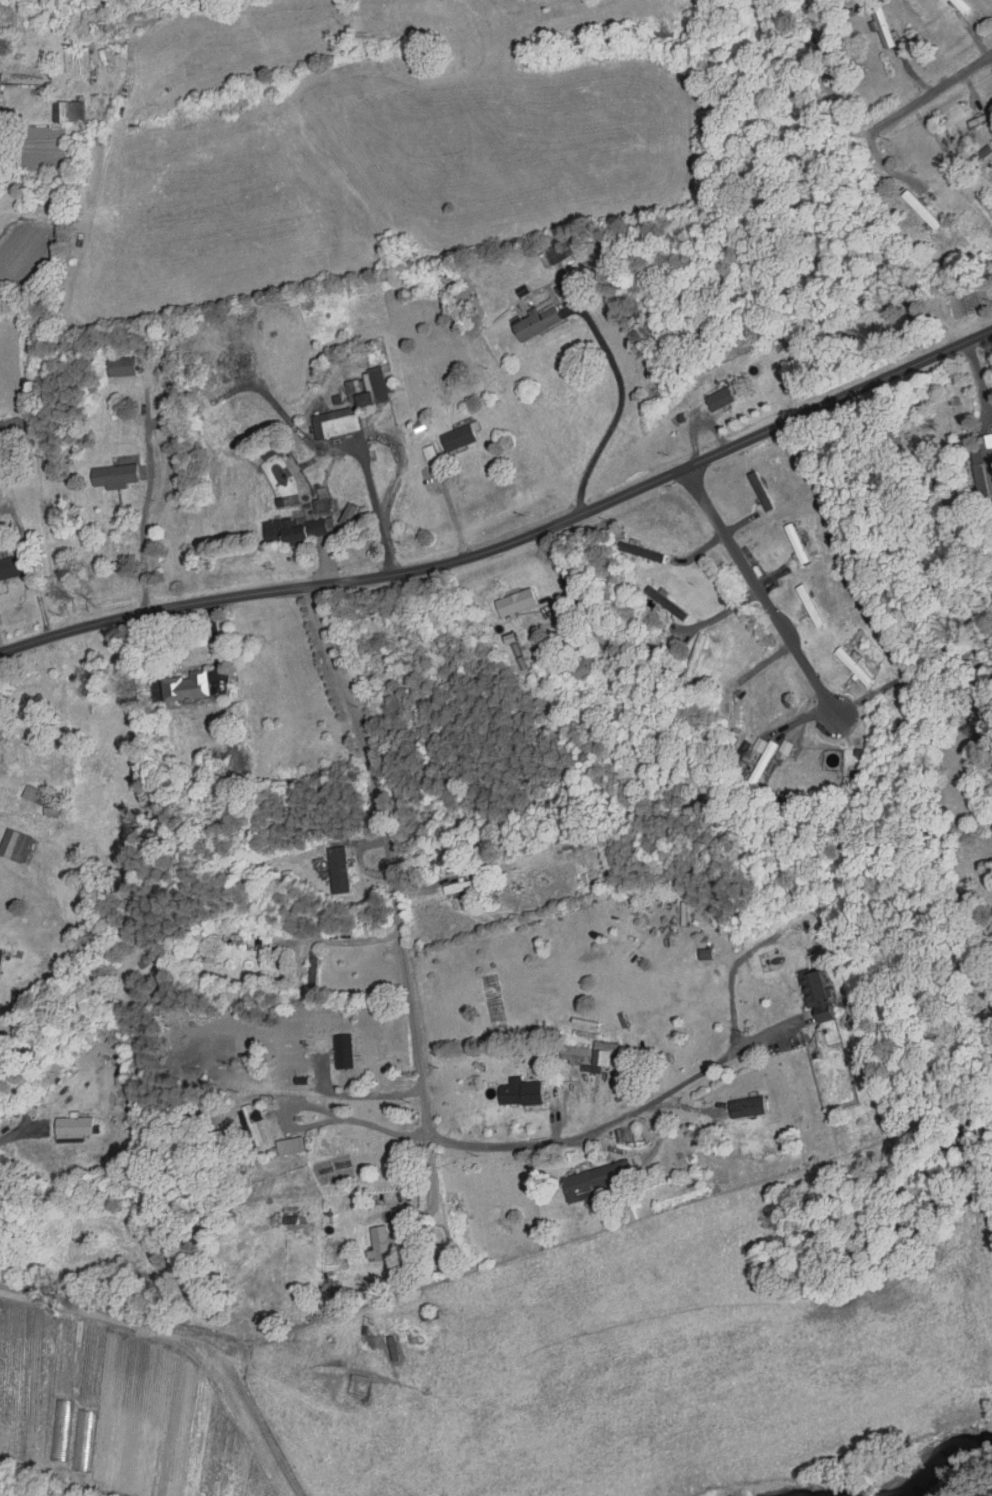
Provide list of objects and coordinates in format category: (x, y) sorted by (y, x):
building: (954, 6)
building: (8, 25)
building: (877, 28)
road: (921, 101)
building: (63, 113)
building: (976, 121)
building: (914, 211)
building: (527, 323)
building: (114, 366)
building: (364, 386)
building: (710, 400)
road: (621, 405)
building: (326, 422)
building: (10, 424)
building: (454, 437)
building: (109, 476)
building: (979, 476)
road: (145, 490)
building: (290, 528)
road: (511, 543)
building: (792, 544)
building: (636, 551)
building: (7, 565)
road: (762, 596)
building: (507, 602)
building: (660, 602)
building: (806, 606)
road: (215, 648)
building: (689, 657)
building: (849, 667)
building: (571, 668)
building: (172, 686)
building: (729, 710)
building: (762, 760)
building: (4, 841)
building: (566, 844)
building: (331, 870)
building: (454, 887)
road: (348, 942)
road: (401, 942)
road: (742, 957)
building: (808, 997)
road: (696, 1075)
building: (515, 1093)
road: (355, 1094)
building: (739, 1107)
road: (355, 1119)
building: (65, 1128)
building: (243, 1128)
building: (282, 1146)
building: (587, 1182)
road: (432, 1189)
building: (377, 1243)
building: (423, 1319)
road: (178, 1340)
building: (388, 1348)
road: (64, 1477)

